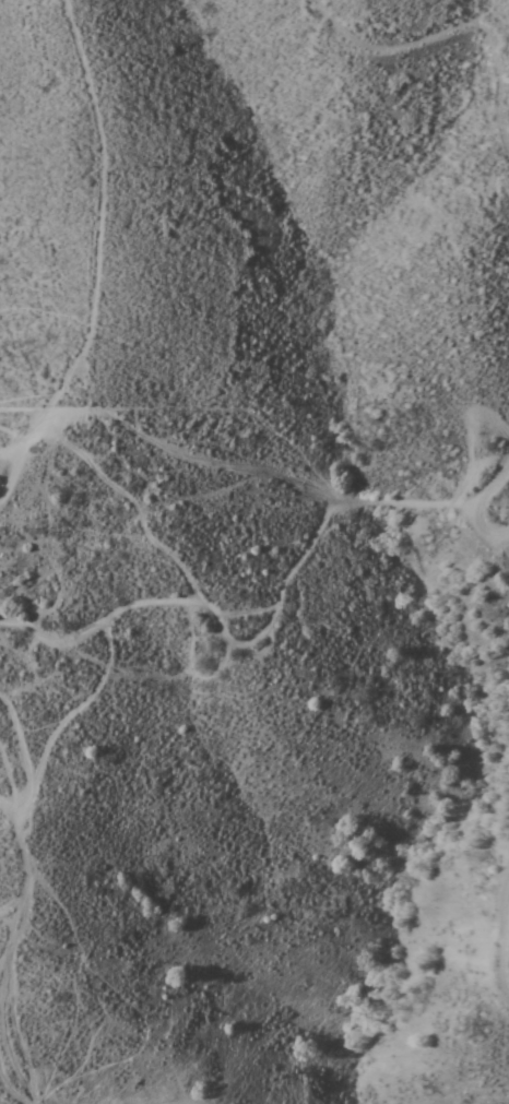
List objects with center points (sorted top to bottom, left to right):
road: (483, 506)
road: (174, 610)
road: (10, 905)
road: (502, 938)

